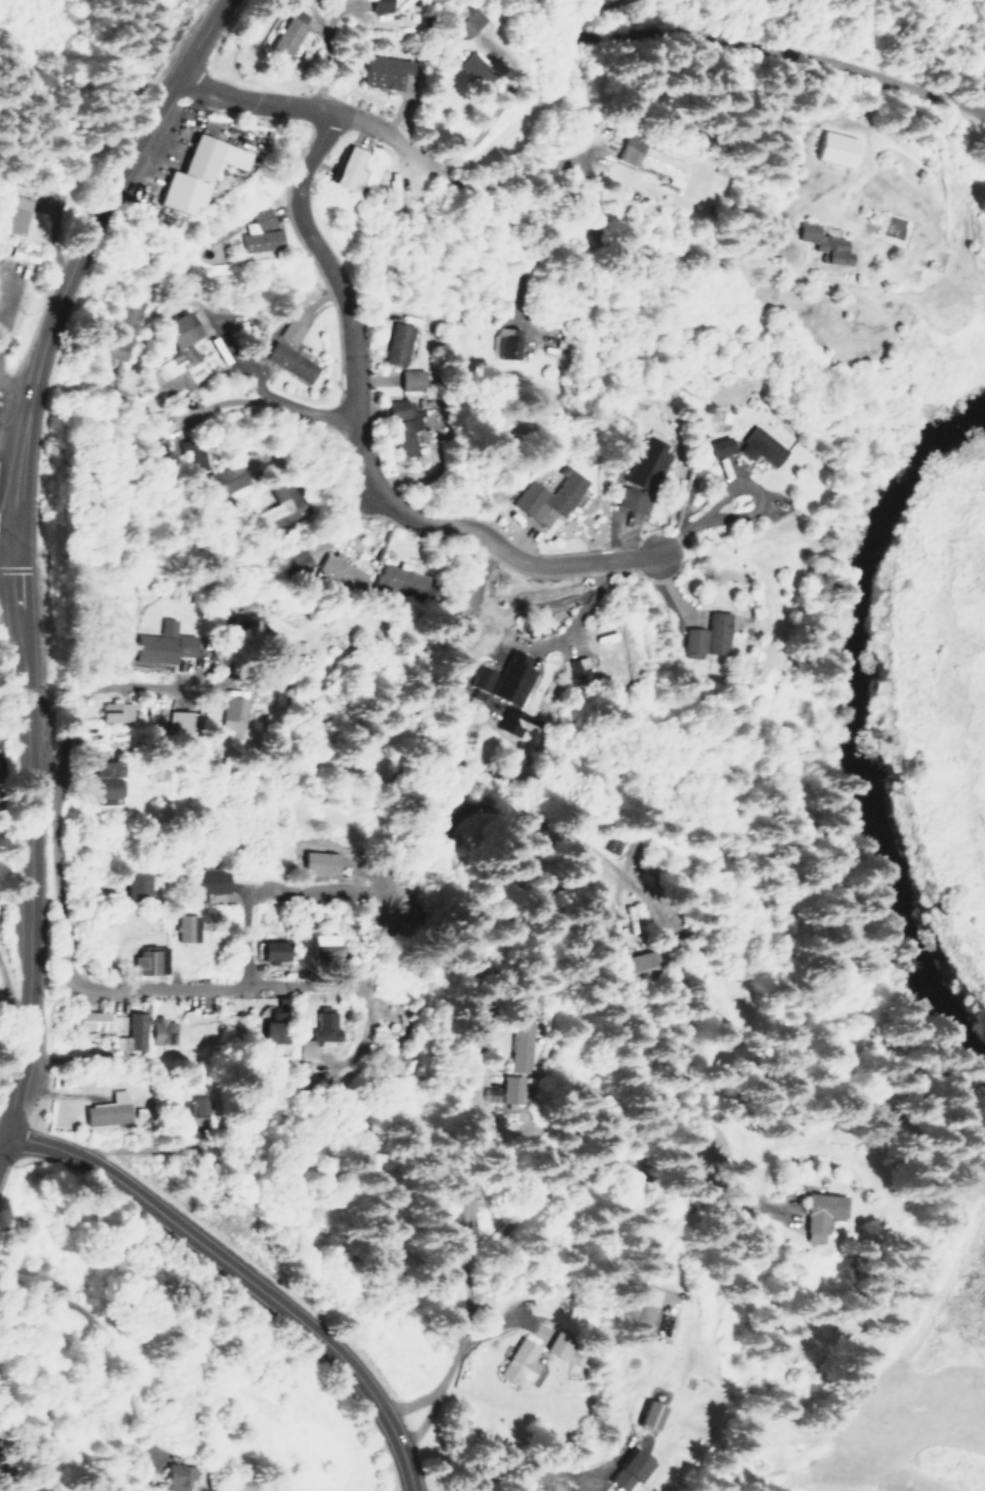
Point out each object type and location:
building: (370, 4)
building: (460, 17)
building: (284, 31)
building: (467, 67)
building: (378, 69)
road: (283, 104)
building: (834, 148)
building: (647, 157)
building: (347, 166)
building: (195, 171)
building: (15, 214)
building: (261, 232)
building: (822, 243)
building: (21, 253)
road: (74, 258)
building: (122, 328)
building: (291, 330)
building: (505, 341)
building: (396, 343)
building: (179, 357)
building: (288, 361)
building: (410, 380)
road: (266, 395)
building: (402, 425)
road: (357, 444)
building: (720, 445)
building: (760, 446)
building: (192, 453)
building: (641, 475)
building: (229, 478)
road: (734, 488)
building: (547, 497)
building: (282, 505)
road: (355, 510)
road: (7, 548)
building: (297, 562)
building: (340, 571)
building: (401, 577)
building: (241, 623)
building: (708, 635)
building: (162, 643)
building: (578, 666)
building: (511, 678)
road: (117, 687)
building: (233, 708)
building: (114, 710)
building: (183, 721)
building: (512, 721)
building: (103, 781)
road: (55, 809)
road: (28, 849)
building: (139, 881)
building: (206, 883)
road: (38, 892)
building: (186, 927)
building: (323, 945)
building: (274, 951)
building: (148, 960)
building: (638, 961)
road: (167, 981)
building: (93, 1020)
building: (268, 1028)
building: (161, 1031)
building: (316, 1031)
building: (131, 1033)
building: (518, 1047)
building: (510, 1082)
building: (102, 1110)
building: (185, 1111)
building: (463, 1203)
building: (811, 1214)
road: (241, 1276)
building: (553, 1347)
building: (517, 1361)
road: (435, 1391)
building: (648, 1415)
building: (627, 1470)
road: (510, 1473)
building: (176, 1477)

